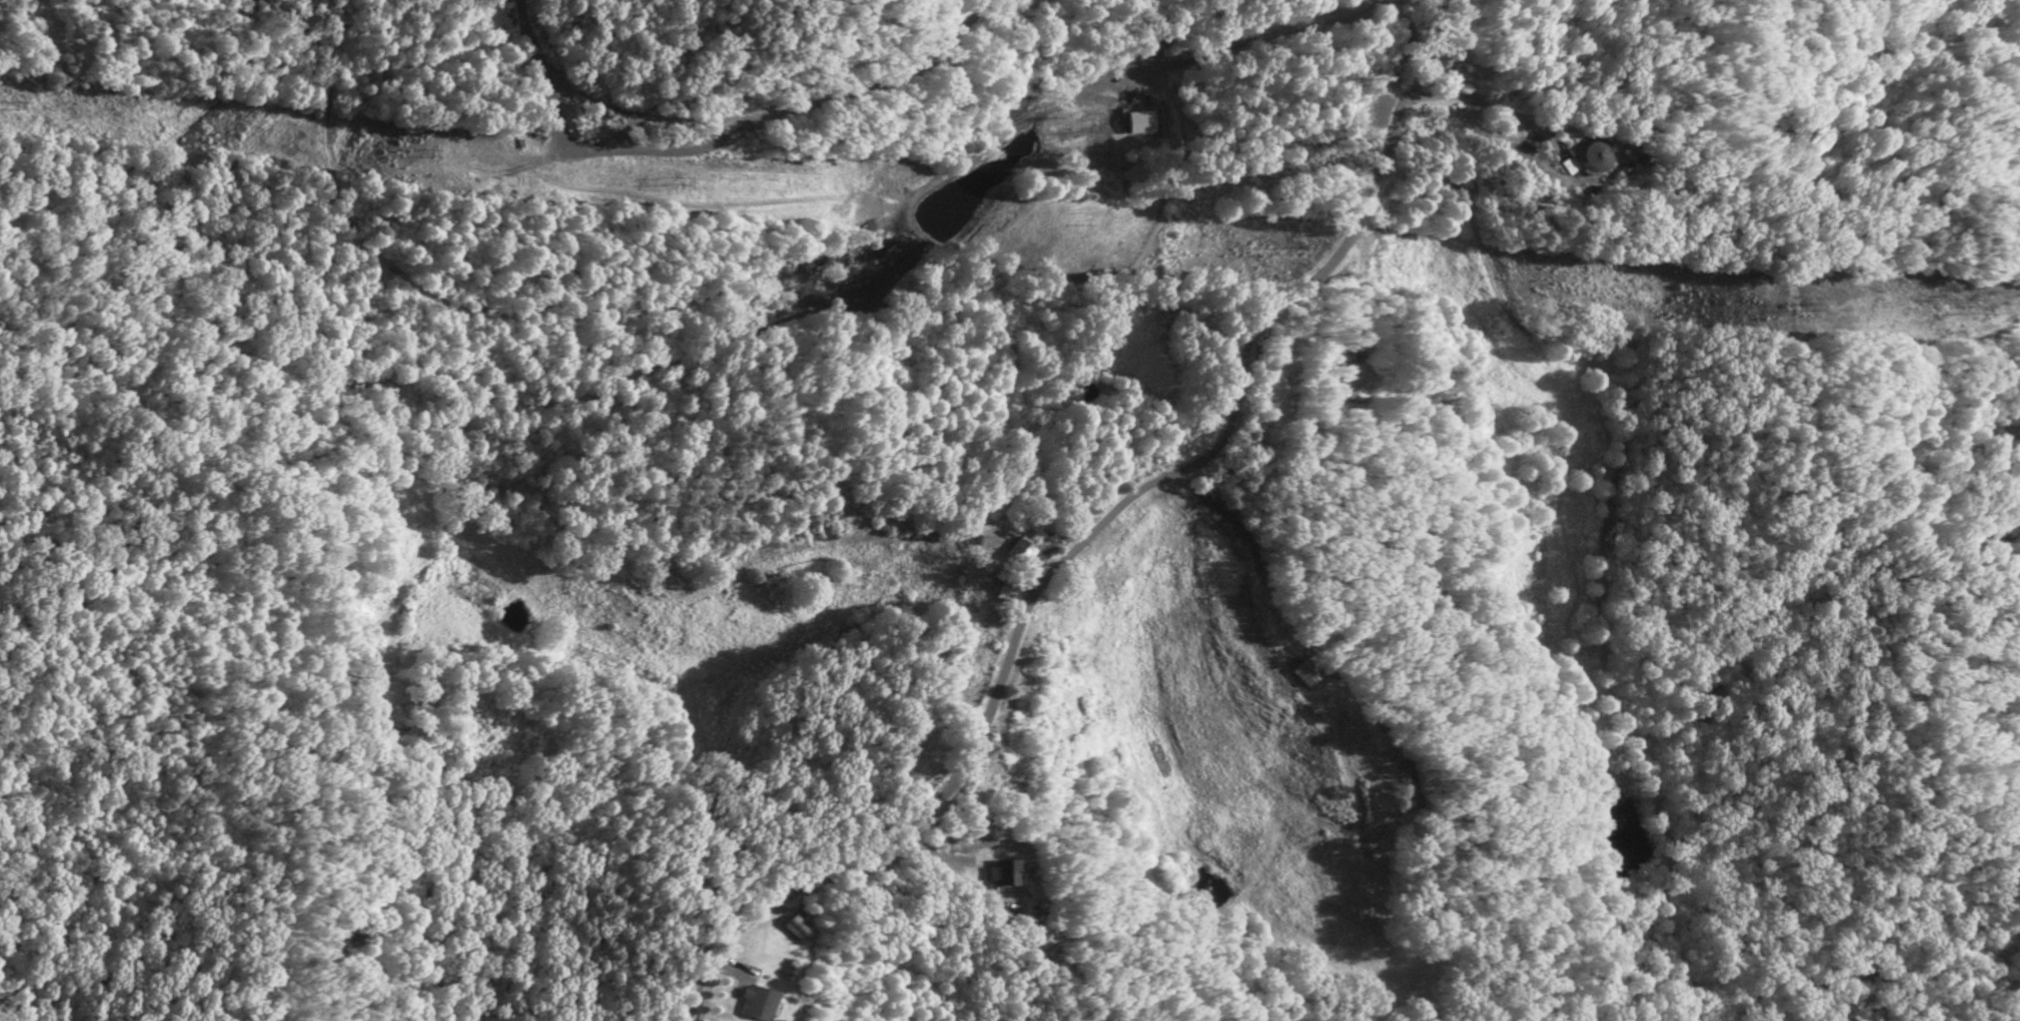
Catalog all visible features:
road: (1271, 36)
road: (1482, 104)
power tower: (13, 107)
building: (1145, 126)
power tower: (429, 153)
building: (1588, 166)
building: (1624, 175)
building: (1138, 177)
power tower: (676, 182)
power tower: (1304, 251)
power tower: (1800, 312)
power tower: (1965, 313)
building: (1353, 388)
road: (1095, 527)
building: (1020, 554)
building: (1000, 876)
building: (793, 931)
building: (1041, 942)
building: (755, 1005)

